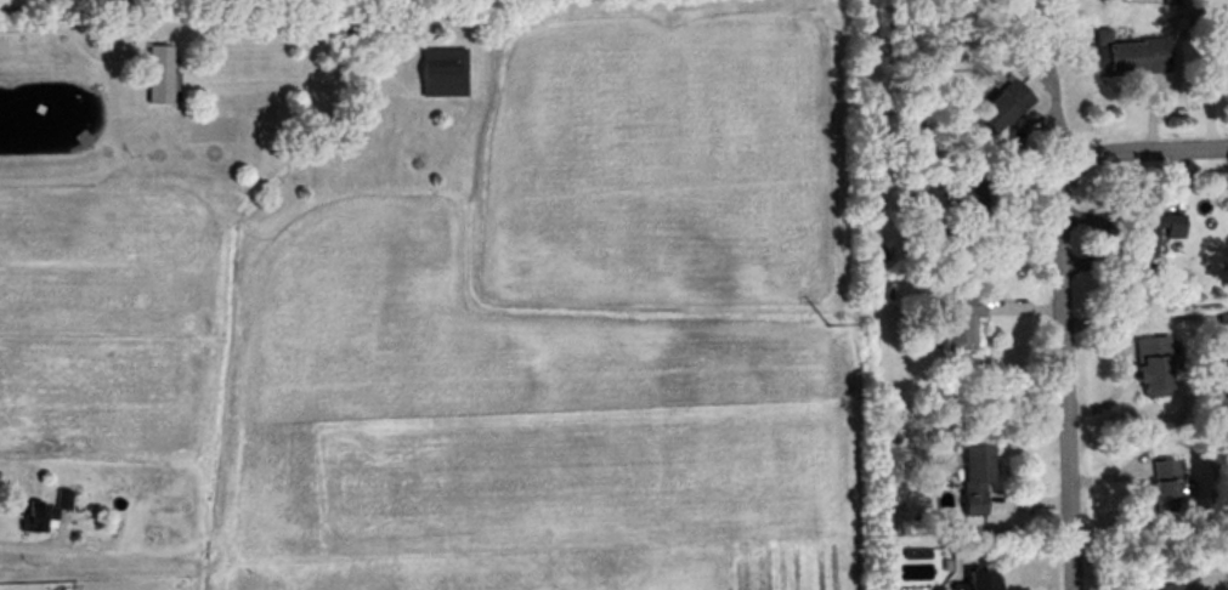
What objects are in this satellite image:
road: (40, 27)
building: (1126, 57)
building: (154, 74)
building: (436, 74)
road: (1138, 151)
building: (996, 183)
building: (1158, 231)
building: (1227, 234)
building: (956, 323)
building: (1224, 323)
power tower: (832, 327)
building: (1147, 368)
road: (1057, 385)
building: (969, 482)
building: (1160, 487)
building: (44, 514)
road: (28, 543)
building: (974, 580)

